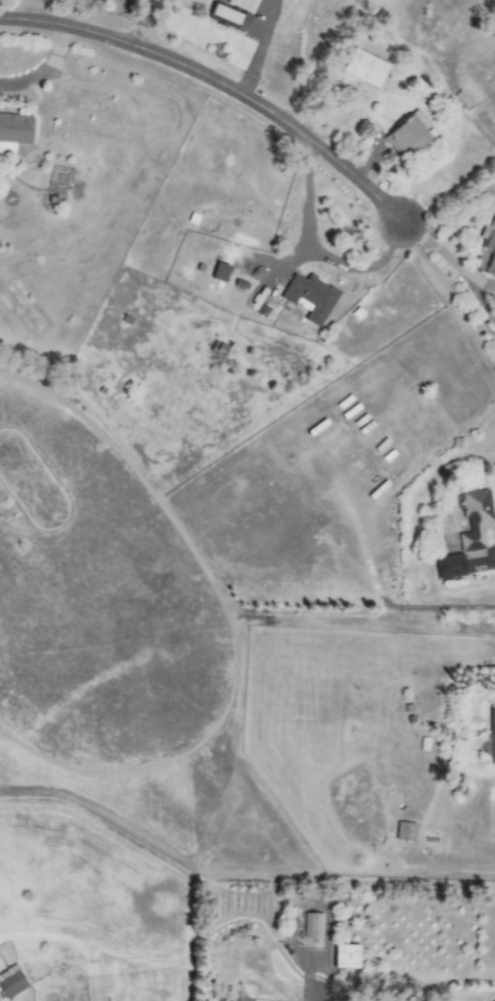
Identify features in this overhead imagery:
building: (241, 3)
building: (227, 18)
road: (143, 28)
road: (258, 48)
building: (363, 67)
road: (39, 68)
road: (217, 85)
building: (14, 130)
building: (409, 133)
road: (435, 247)
building: (486, 248)
road: (315, 256)
building: (219, 271)
road: (482, 283)
building: (309, 296)
road: (480, 300)
building: (493, 304)
building: (474, 519)
building: (448, 565)
building: (491, 734)
building: (404, 830)
building: (311, 925)
building: (344, 955)
road: (309, 974)
building: (11, 980)

